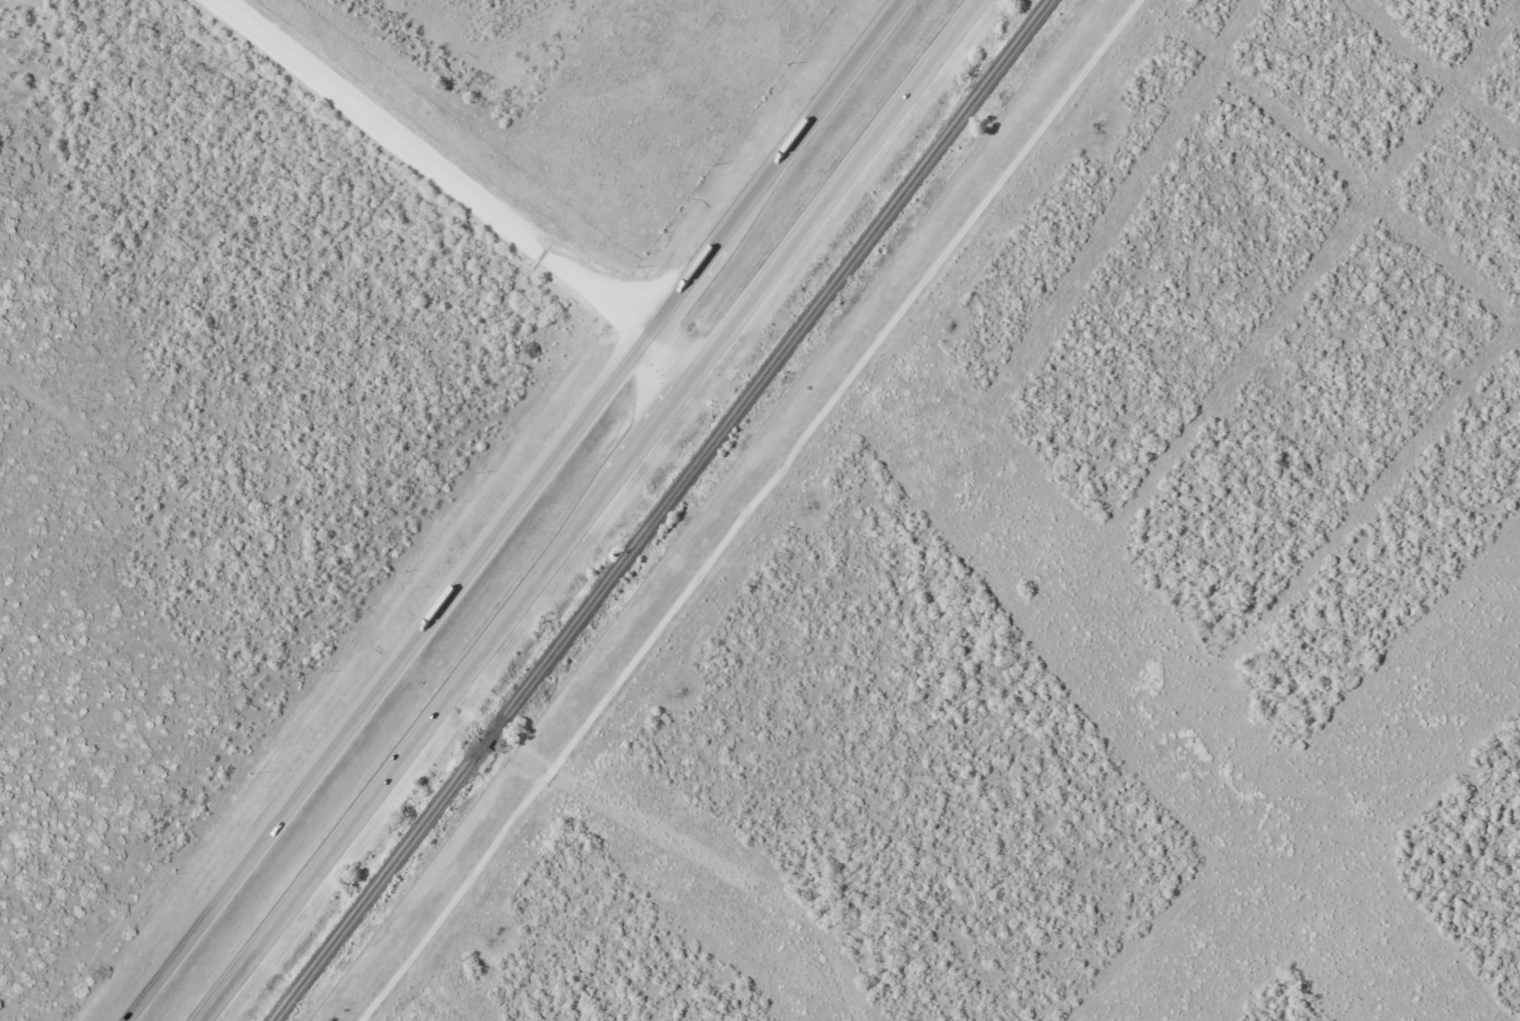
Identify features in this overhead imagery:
road: (424, 170)
road: (672, 363)
road: (766, 510)
railway: (665, 511)
road: (520, 513)
road: (598, 514)

